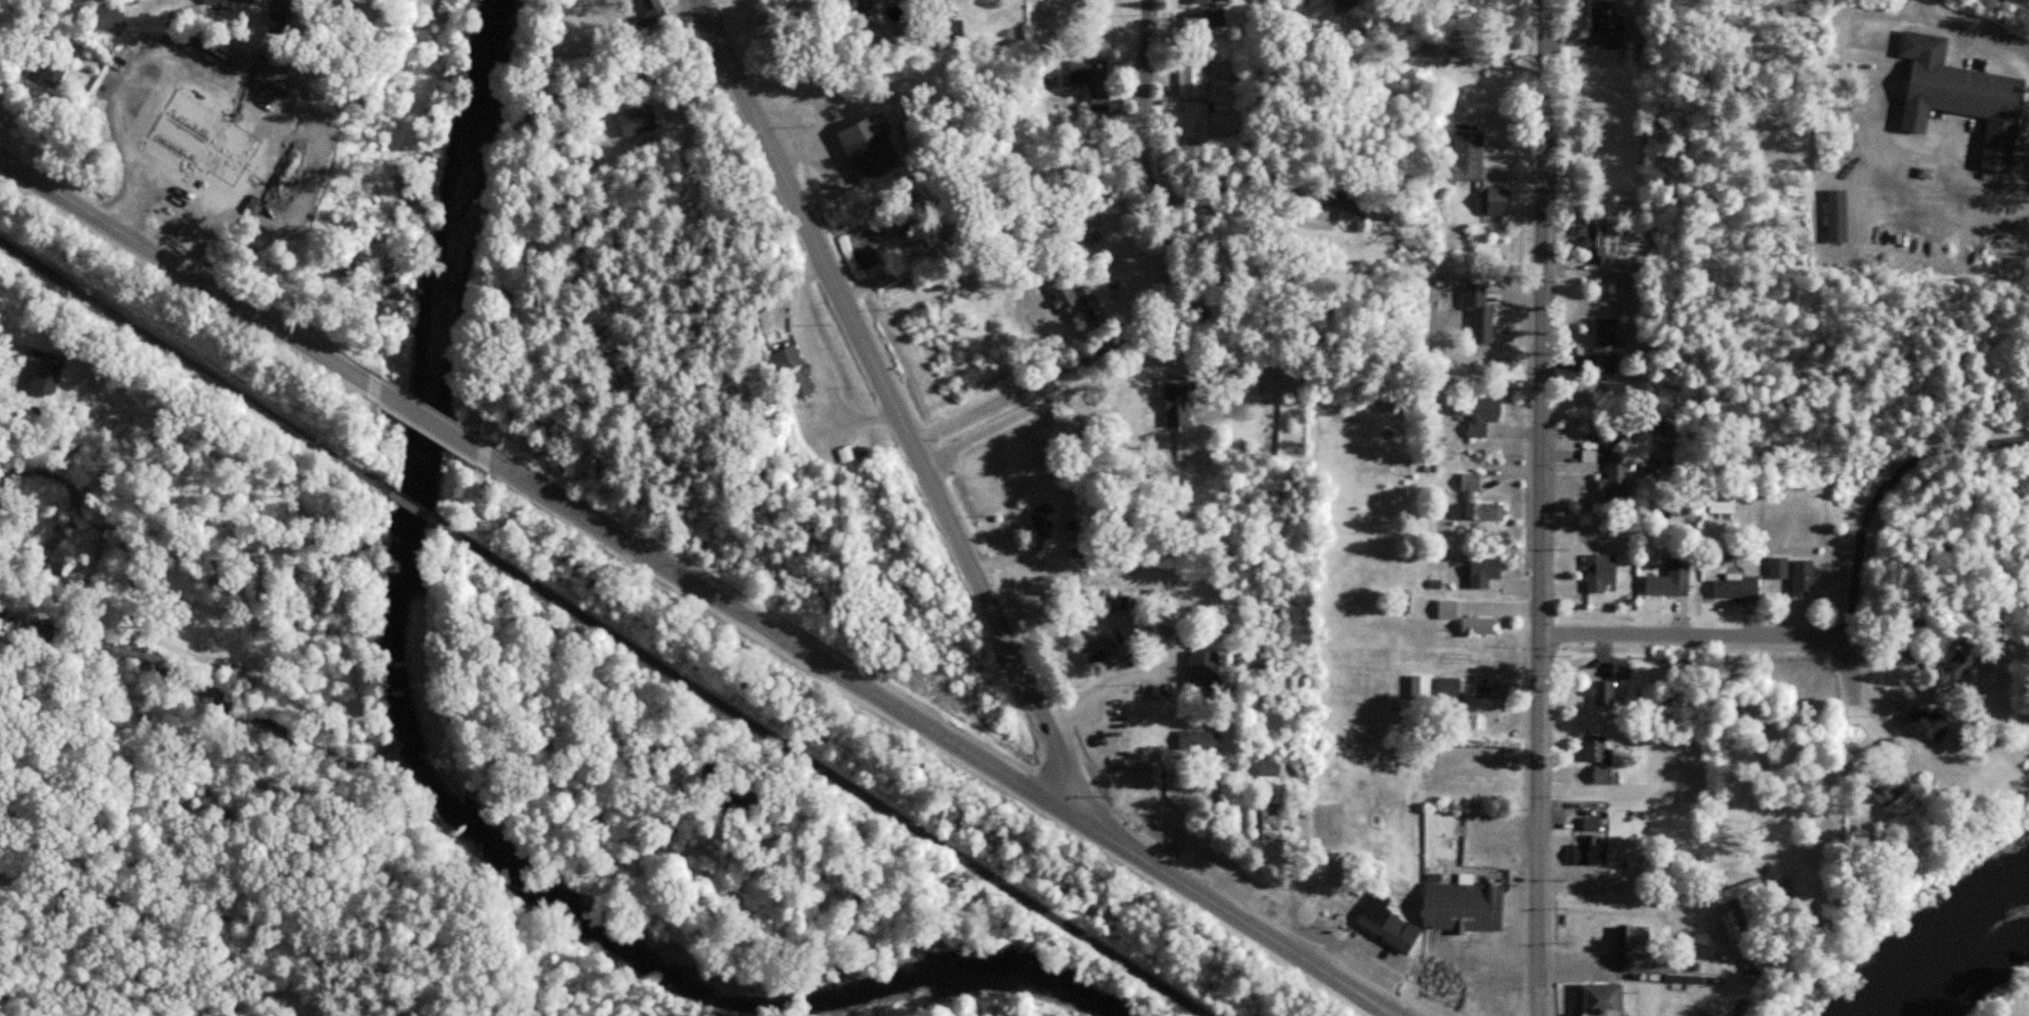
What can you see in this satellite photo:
building: (1313, 0)
building: (835, 1)
building: (1203, 1)
building: (1347, 2)
building: (229, 3)
building: (649, 9)
road: (1926, 9)
building: (867, 10)
building: (105, 21)
building: (1606, 26)
building: (1452, 35)
road: (1146, 76)
building: (1197, 76)
building: (37, 79)
building: (1101, 83)
building: (1968, 93)
building: (637, 120)
building: (876, 146)
building: (1468, 157)
park: (1885, 162)
building: (1336, 195)
building: (1497, 204)
road: (1224, 210)
building: (1837, 213)
building: (1597, 242)
road: (193, 275)
building: (1060, 299)
road: (12, 320)
building: (1609, 343)
road: (818, 360)
road: (196, 366)
building: (51, 371)
building: (793, 374)
road: (1020, 391)
building: (1620, 391)
road: (1054, 396)
building: (1175, 399)
building: (1248, 405)
building: (1482, 409)
road: (435, 424)
road: (907, 430)
building: (1613, 466)
road: (1887, 486)
road: (416, 507)
road: (1541, 507)
road: (1550, 508)
building: (1486, 510)
building: (1042, 520)
road: (770, 553)
building: (1487, 571)
building: (1601, 571)
building: (1780, 572)
building: (1805, 575)
building: (1671, 578)
building: (1438, 583)
building: (1738, 587)
building: (1447, 606)
building: (1480, 627)
road: (1696, 633)
road: (1942, 644)
building: (1095, 650)
building: (1969, 661)
building: (1203, 667)
building: (1621, 668)
road: (1853, 686)
building: (1600, 693)
building: (1495, 708)
building: (1932, 723)
road: (937, 736)
building: (1894, 744)
building: (1202, 745)
river: (426, 750)
building: (1602, 759)
building: (1281, 766)
road: (823, 769)
building: (1154, 774)
building: (1891, 784)
building: (1268, 821)
building: (1591, 854)
building: (1742, 899)
building: (1463, 902)
building: (1387, 923)
road: (165, 927)
building: (1639, 934)
park: (276, 944)
river: (1951, 946)
building: (1775, 962)
building: (1655, 964)
road: (1434, 998)
building: (1606, 1001)
park: (2010, 1001)
road: (2017, 1005)
building: (1752, 1008)

